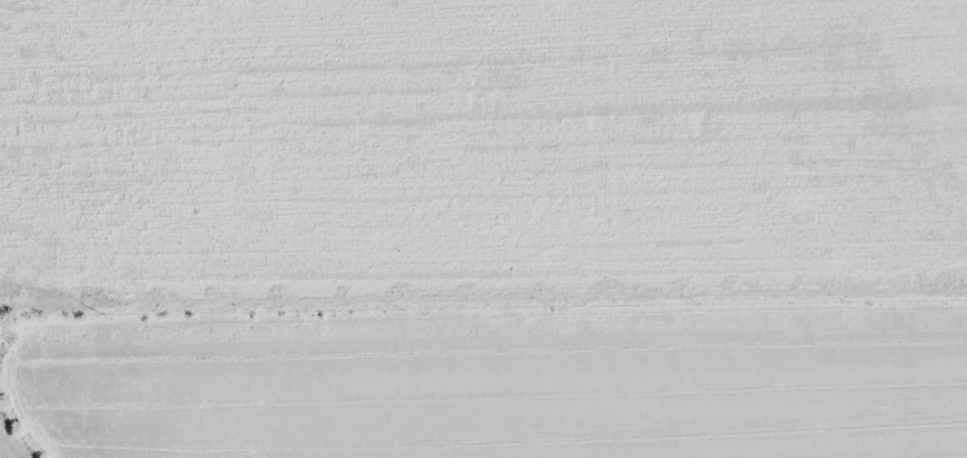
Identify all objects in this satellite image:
road: (2, 454)

